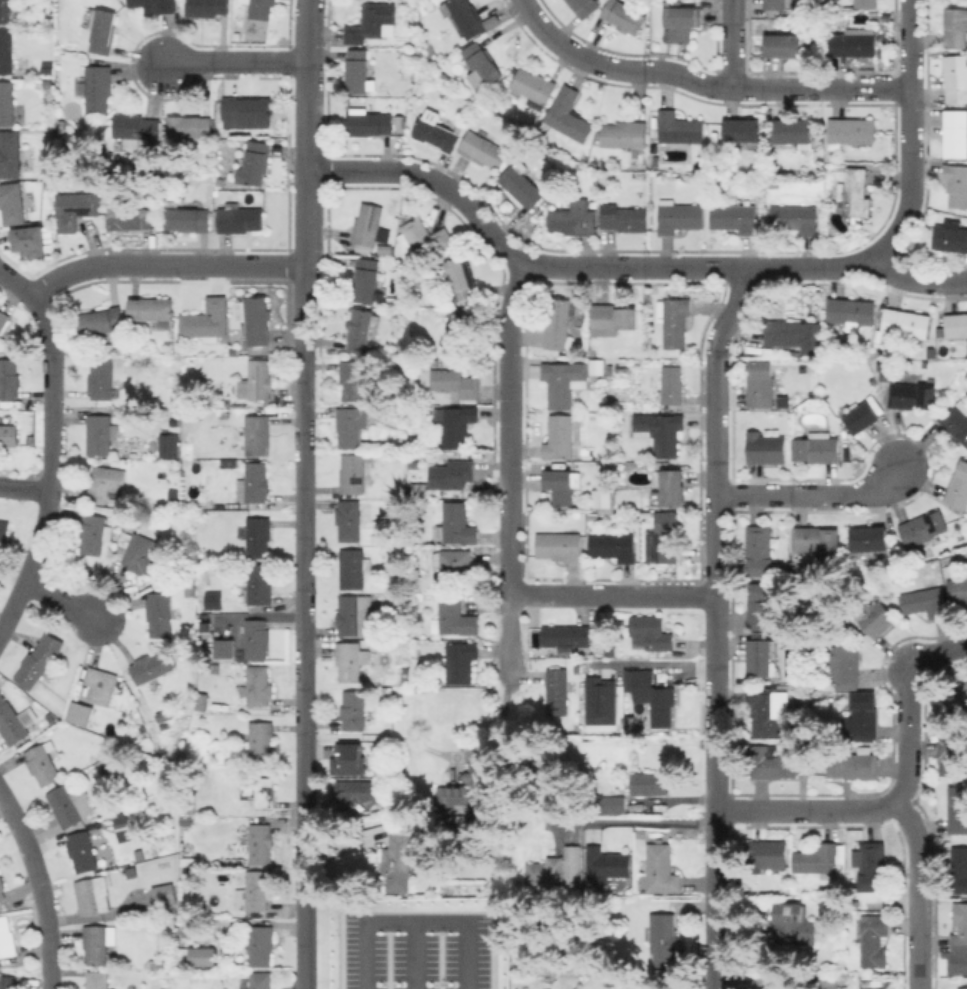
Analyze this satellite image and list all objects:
building: (866, 3)
building: (156, 4)
building: (778, 4)
building: (207, 7)
building: (584, 7)
building: (261, 9)
building: (7, 11)
building: (465, 16)
building: (624, 16)
building: (371, 21)
building: (681, 21)
building: (956, 27)
building: (104, 31)
building: (854, 42)
road: (731, 44)
building: (783, 45)
building: (7, 52)
road: (577, 54)
road: (231, 60)
building: (481, 67)
building: (358, 70)
building: (444, 73)
building: (956, 78)
road: (303, 84)
building: (97, 87)
building: (534, 87)
road: (780, 88)
building: (7, 102)
building: (246, 115)
building: (569, 117)
building: (61, 124)
building: (370, 124)
building: (190, 126)
building: (680, 128)
building: (136, 129)
building: (851, 130)
building: (744, 131)
building: (794, 131)
building: (956, 132)
building: (436, 133)
building: (625, 134)
road: (909, 134)
building: (484, 149)
building: (10, 153)
building: (656, 160)
building: (255, 163)
building: (956, 183)
building: (522, 186)
building: (856, 193)
building: (12, 206)
building: (75, 208)
building: (763, 215)
building: (679, 216)
road: (304, 217)
building: (574, 217)
building: (795, 217)
building: (131, 218)
building: (188, 218)
building: (625, 218)
building: (735, 218)
building: (240, 219)
building: (369, 224)
building: (427, 237)
building: (951, 237)
building: (27, 247)
building: (386, 248)
road: (510, 249)
road: (162, 265)
road: (808, 268)
building: (462, 277)
building: (367, 279)
road: (918, 279)
road: (16, 286)
building: (153, 310)
building: (852, 310)
building: (256, 319)
building: (612, 319)
building: (4, 320)
building: (102, 320)
building: (206, 320)
building: (675, 321)
building: (906, 322)
building: (558, 323)
building: (956, 325)
building: (361, 330)
building: (460, 331)
building: (796, 334)
building: (121, 348)
building: (233, 351)
building: (791, 352)
building: (435, 361)
building: (597, 362)
building: (427, 363)
building: (884, 371)
building: (9, 378)
building: (102, 378)
building: (357, 378)
building: (256, 380)
building: (565, 382)
building: (457, 383)
building: (673, 384)
building: (760, 384)
building: (913, 395)
building: (407, 396)
building: (226, 412)
building: (862, 416)
building: (955, 418)
building: (455, 424)
road: (507, 424)
building: (352, 425)
building: (661, 431)
building: (101, 434)
building: (9, 435)
building: (257, 435)
building: (561, 438)
building: (31, 439)
building: (415, 439)
building: (428, 443)
building: (170, 445)
building: (766, 448)
building: (817, 448)
building: (369, 458)
road: (51, 472)
building: (353, 473)
building: (452, 474)
building: (108, 481)
building: (562, 482)
building: (254, 483)
building: (671, 486)
building: (958, 487)
road: (25, 491)
building: (174, 494)
road: (814, 494)
building: (603, 498)
building: (174, 507)
building: (123, 513)
building: (594, 515)
building: (349, 520)
building: (128, 524)
building: (457, 524)
building: (923, 528)
building: (4, 530)
building: (95, 534)
building: (259, 536)
road: (715, 536)
building: (667, 537)
building: (816, 540)
building: (869, 541)
building: (614, 545)
building: (560, 546)
building: (760, 550)
building: (143, 555)
building: (455, 564)
building: (354, 568)
building: (258, 584)
building: (187, 588)
building: (958, 589)
road: (611, 594)
building: (211, 600)
building: (926, 601)
road: (65, 602)
building: (761, 605)
building: (160, 614)
building: (355, 615)
building: (874, 615)
building: (457, 617)
road: (302, 626)
building: (651, 631)
building: (567, 635)
building: (257, 638)
building: (406, 645)
building: (222, 648)
building: (610, 648)
building: (760, 655)
road: (508, 657)
building: (349, 660)
building: (407, 660)
building: (460, 660)
building: (40, 661)
building: (843, 666)
building: (152, 667)
building: (102, 685)
building: (259, 685)
building: (557, 691)
building: (387, 692)
building: (654, 696)
building: (202, 698)
building: (957, 698)
building: (599, 700)
building: (768, 709)
building: (354, 710)
building: (81, 713)
building: (863, 715)
building: (13, 720)
building: (262, 741)
building: (952, 753)
building: (208, 758)
building: (348, 758)
building: (776, 761)
building: (43, 763)
building: (853, 765)
building: (649, 782)
building: (469, 787)
building: (259, 790)
building: (362, 792)
building: (189, 801)
road: (896, 801)
building: (614, 804)
building: (71, 805)
building: (958, 809)
road: (806, 810)
building: (186, 819)
road: (622, 821)
building: (119, 827)
building: (258, 842)
building: (83, 849)
building: (768, 856)
building: (399, 858)
building: (818, 860)
building: (573, 863)
building: (871, 865)
building: (609, 867)
building: (660, 867)
building: (959, 869)
building: (132, 871)
building: (545, 872)
road: (40, 888)
building: (2, 889)
building: (254, 891)
building: (165, 894)
building: (92, 895)
road: (714, 899)
road: (414, 918)
building: (795, 924)
building: (959, 928)
building: (663, 936)
building: (7, 937)
building: (874, 939)
building: (98, 942)
building: (261, 945)
parking lot: (414, 950)
road: (411, 953)
building: (205, 956)
building: (261, 979)
building: (98, 980)
building: (8, 982)
building: (829, 983)
building: (775, 988)
building: (869, 988)
building: (962, 988)

